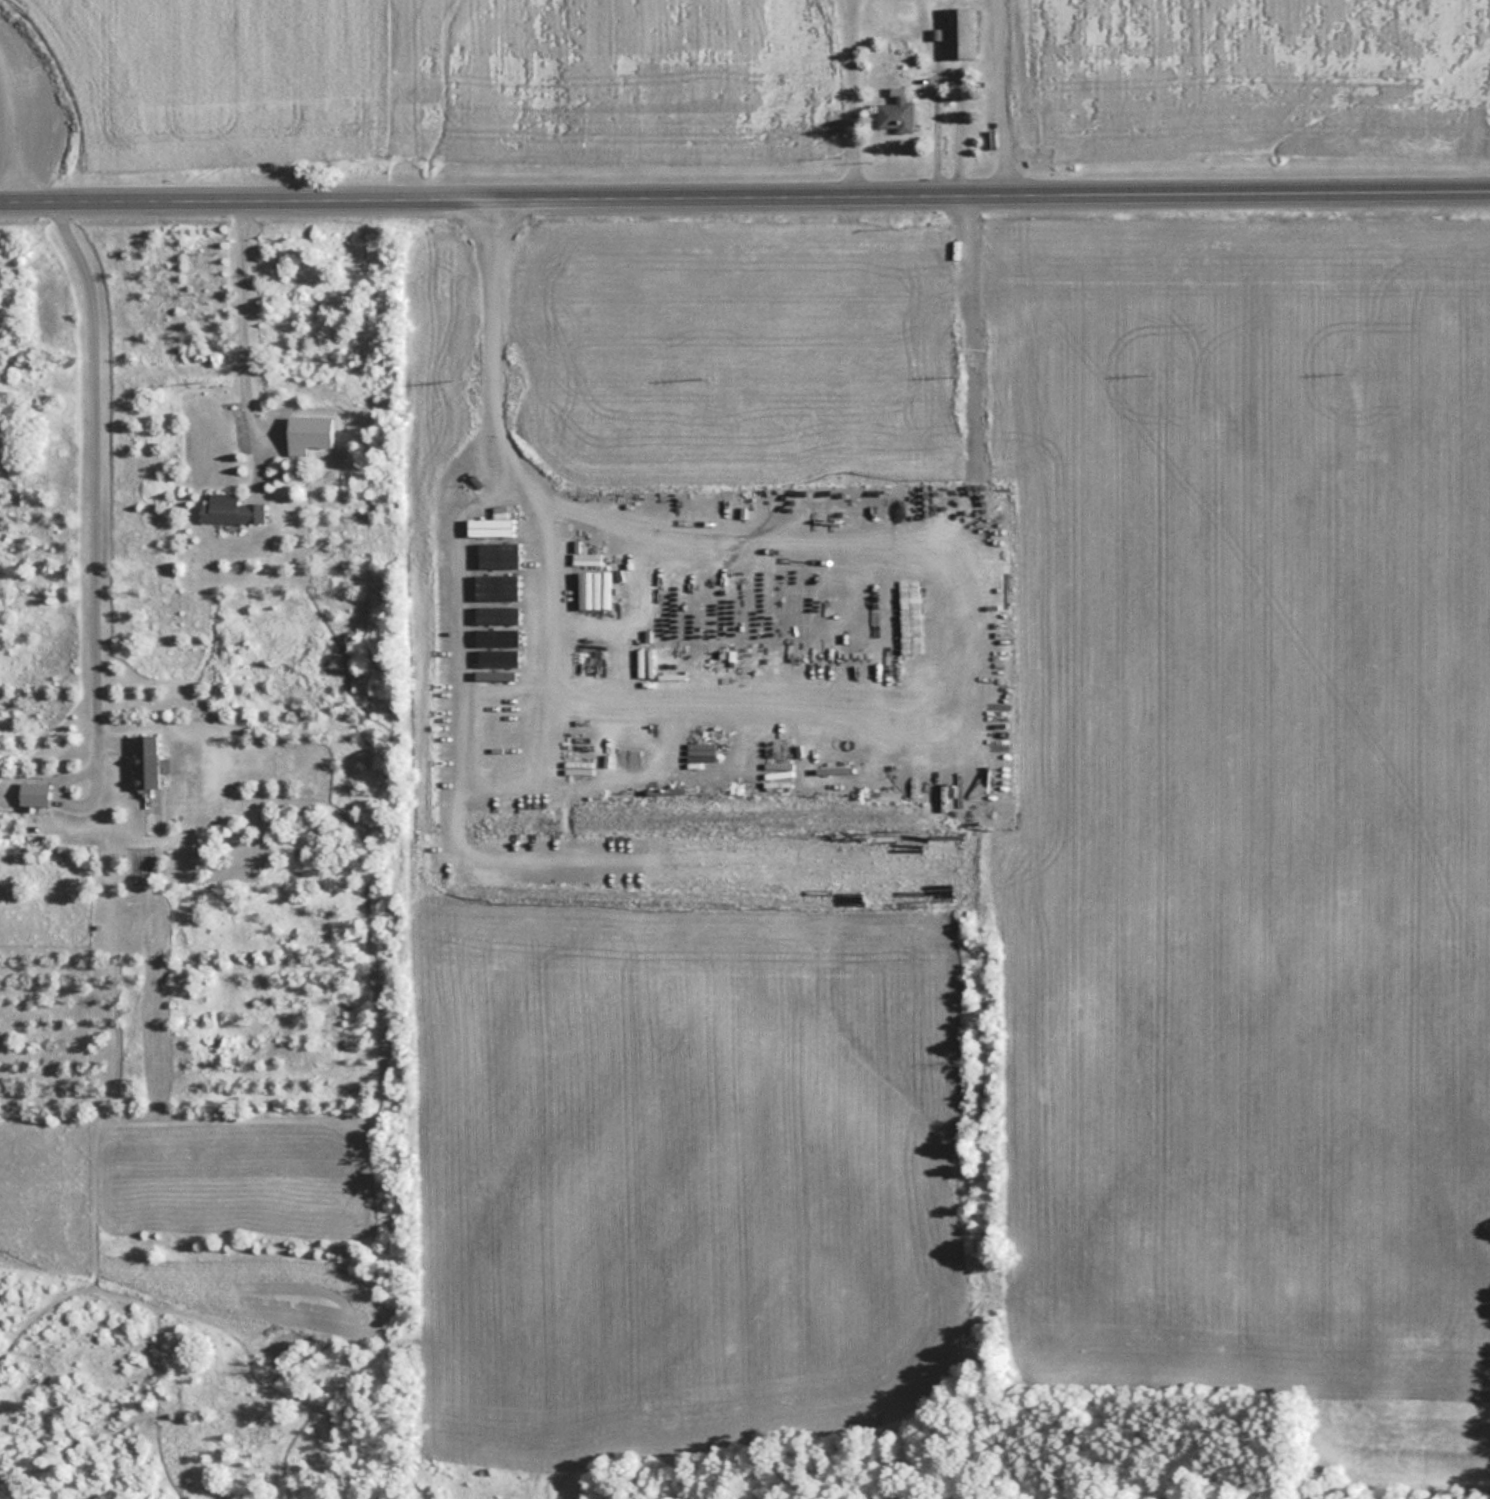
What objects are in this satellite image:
building: (961, 32)
road: (945, 62)
road: (997, 99)
road: (846, 100)
building: (895, 115)
road: (745, 201)
road: (242, 344)
road: (488, 364)
road: (94, 463)
building: (231, 508)
building: (146, 760)
road: (988, 790)
building: (33, 793)

